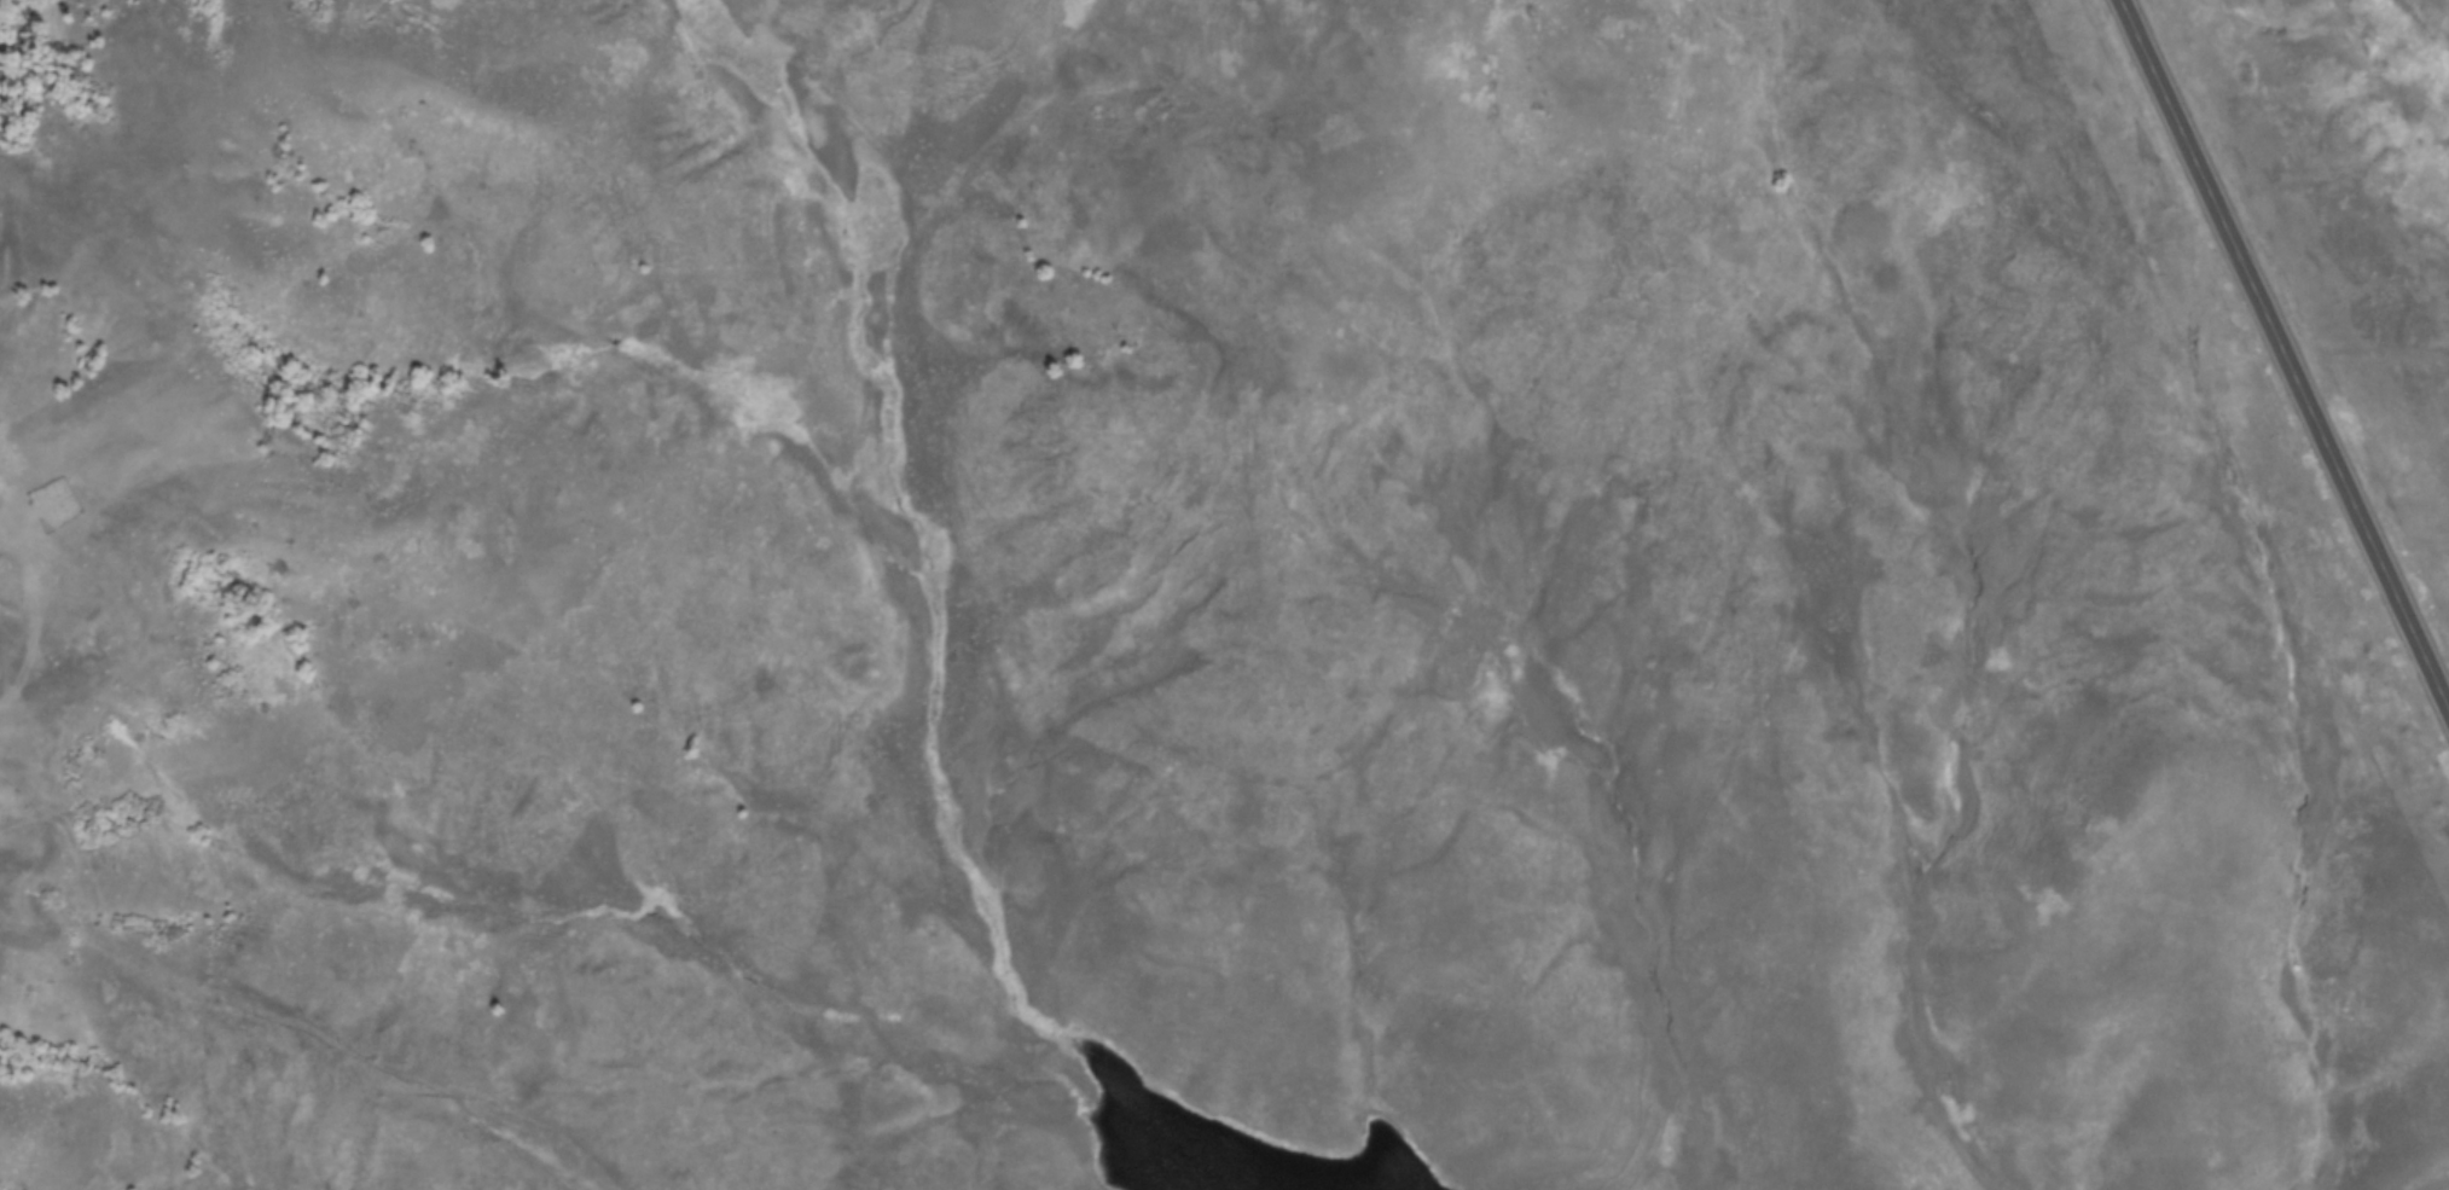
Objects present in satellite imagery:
road: (2286, 347)

